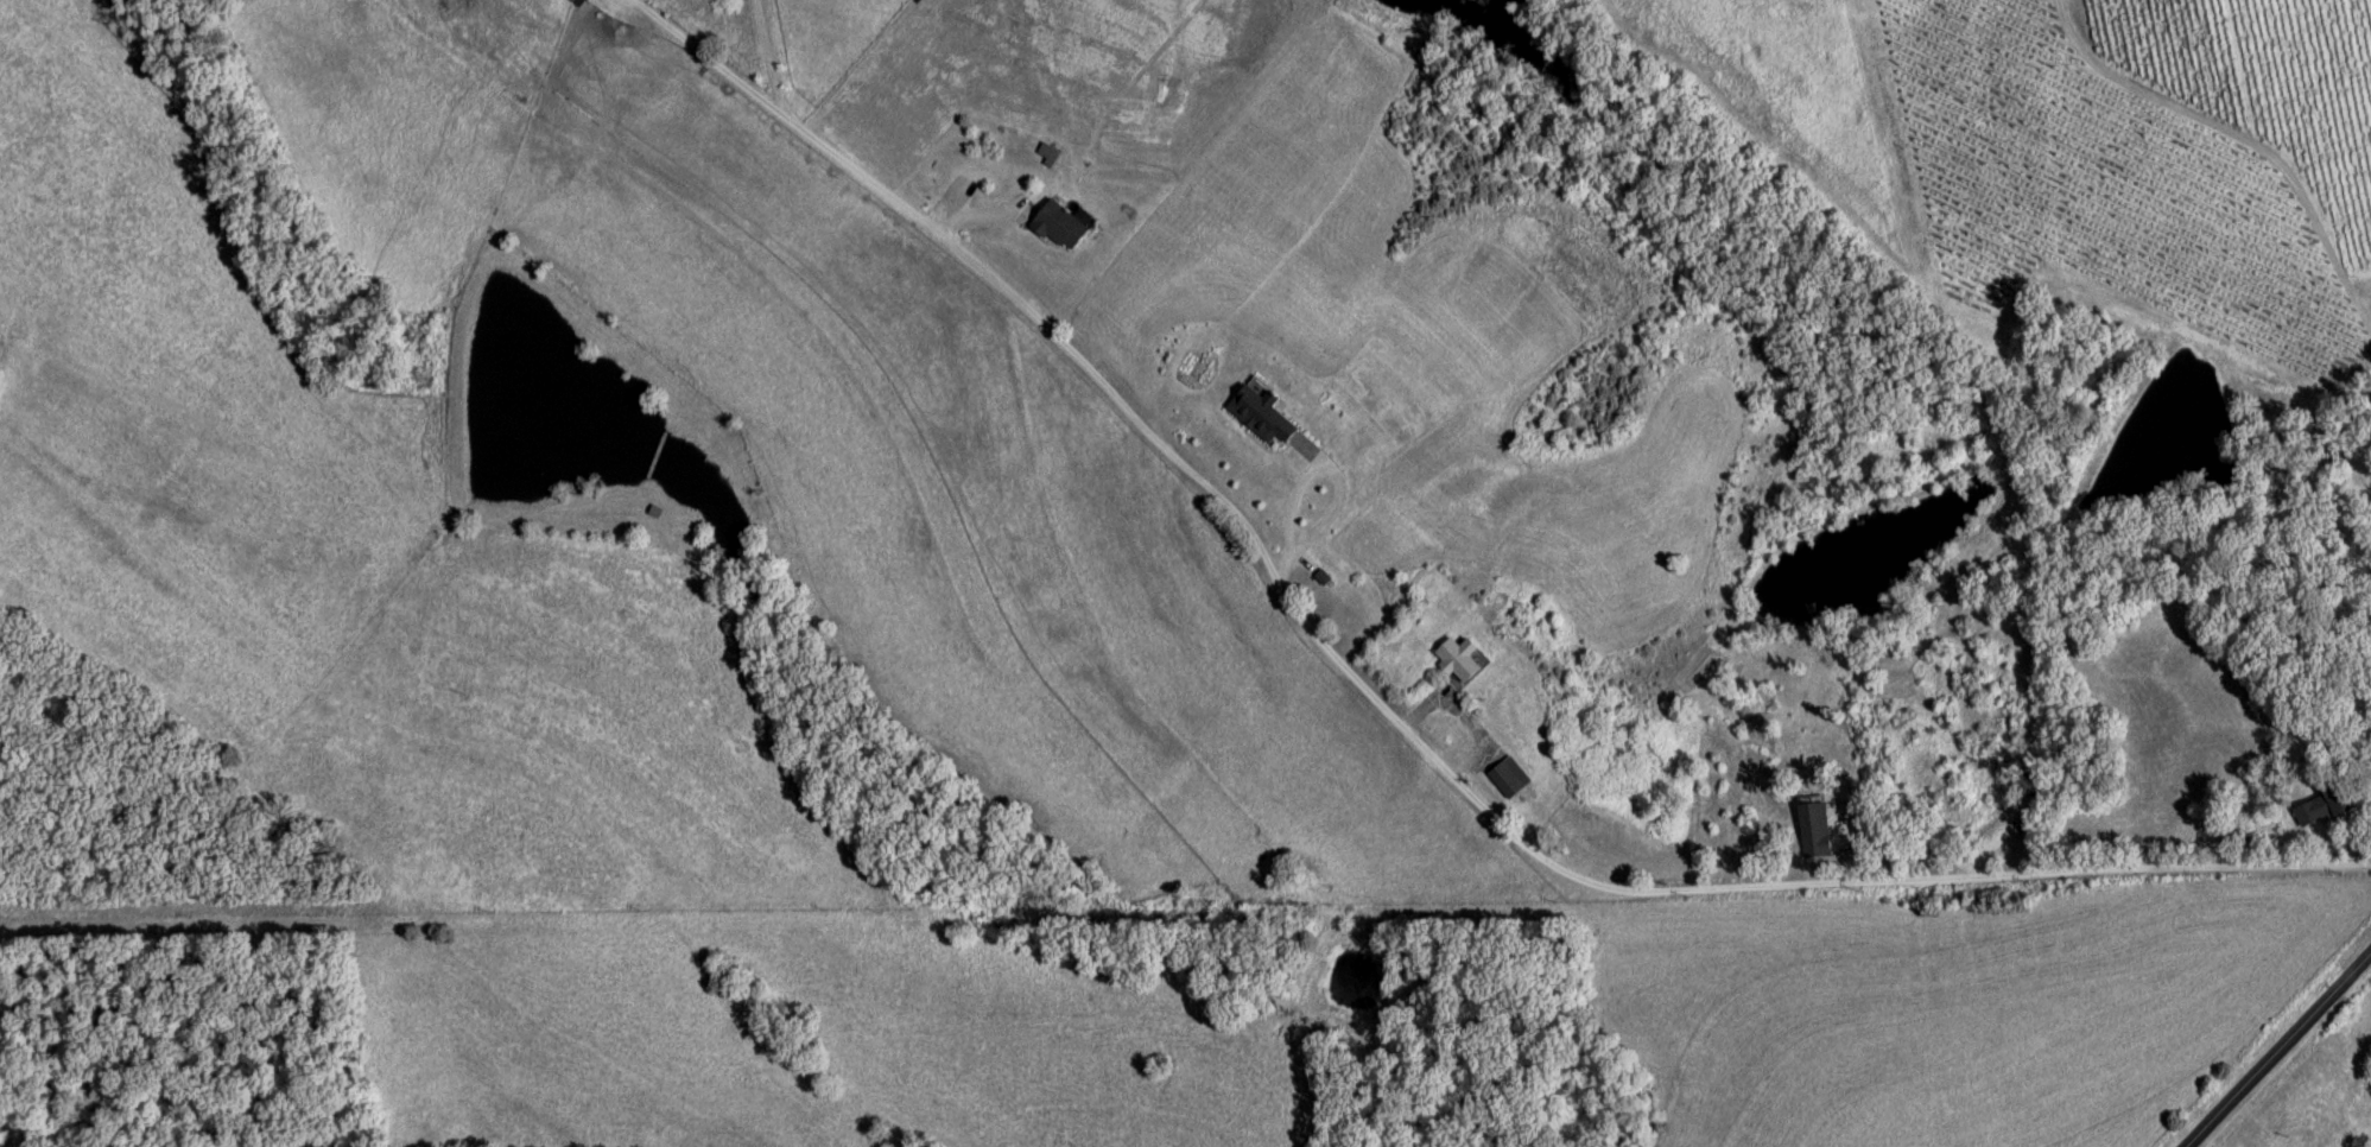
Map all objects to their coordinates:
building: (572, 1)
building: (585, 1)
road: (776, 56)
building: (1061, 229)
building: (1263, 417)
building: (1460, 660)
road: (1418, 706)
building: (1510, 780)
building: (2022, 784)
building: (2322, 810)
building: (1807, 822)
road: (2313, 1079)

